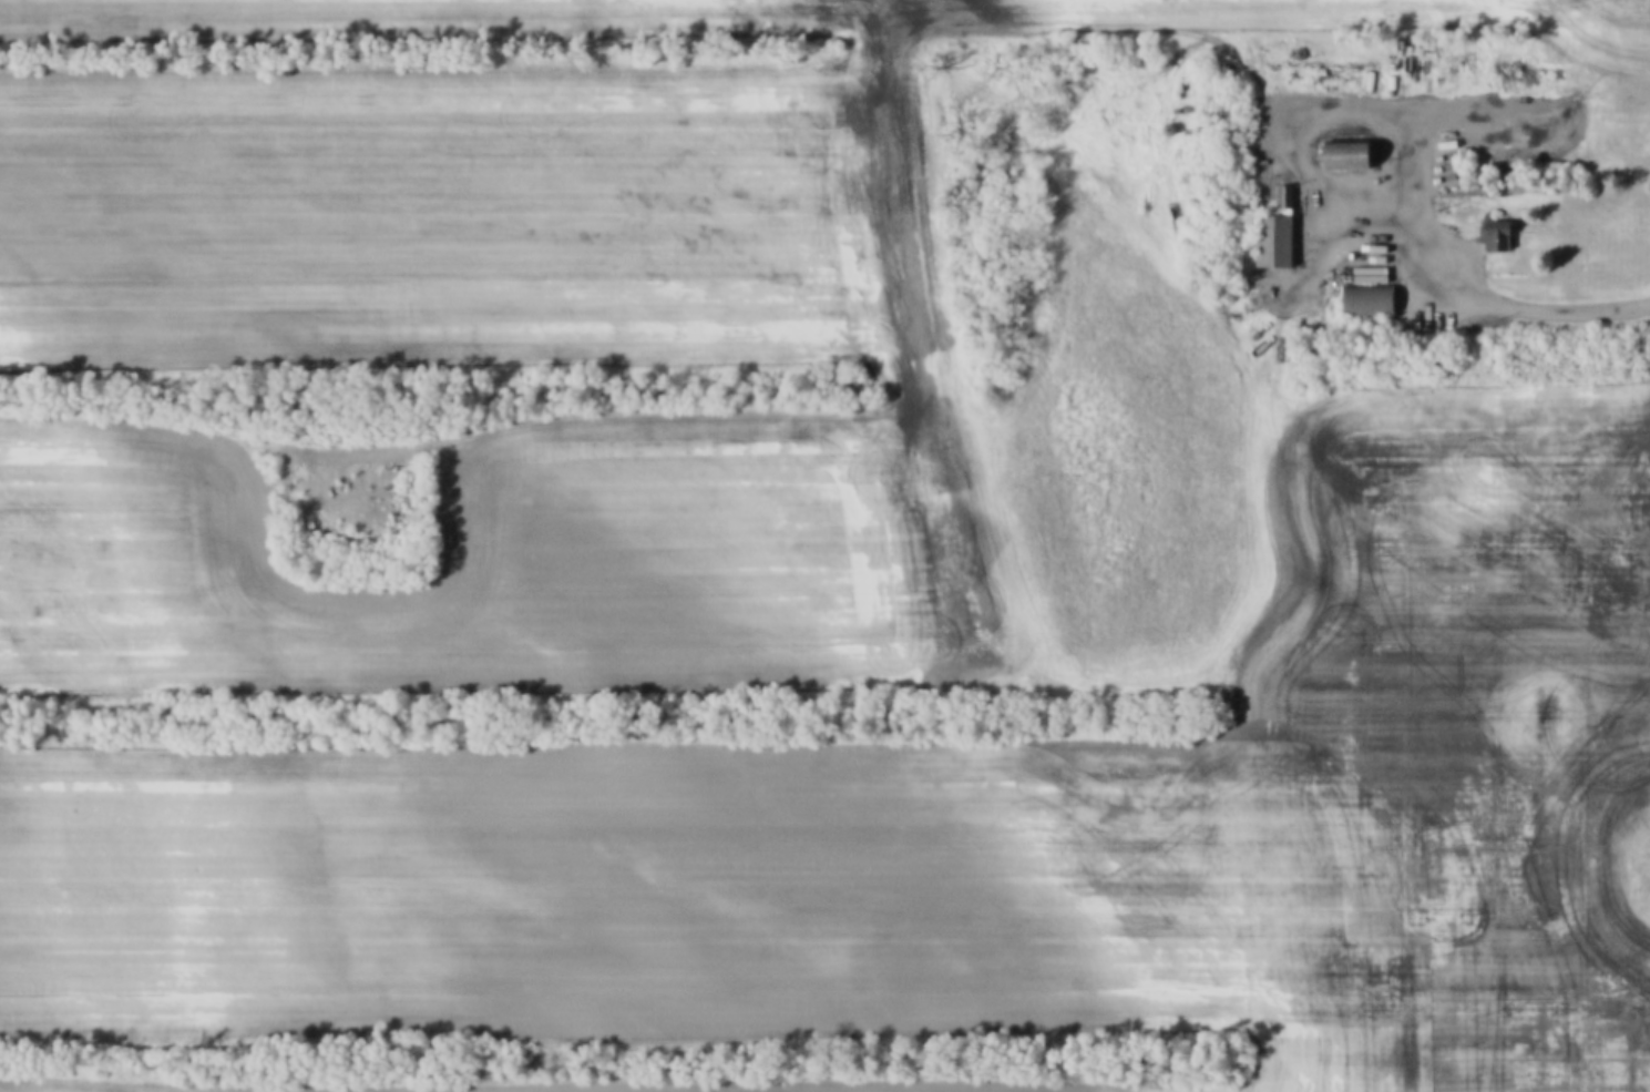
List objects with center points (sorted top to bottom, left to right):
building: (1350, 162)
building: (1278, 235)
building: (1497, 241)
road: (1462, 284)
building: (1371, 304)

